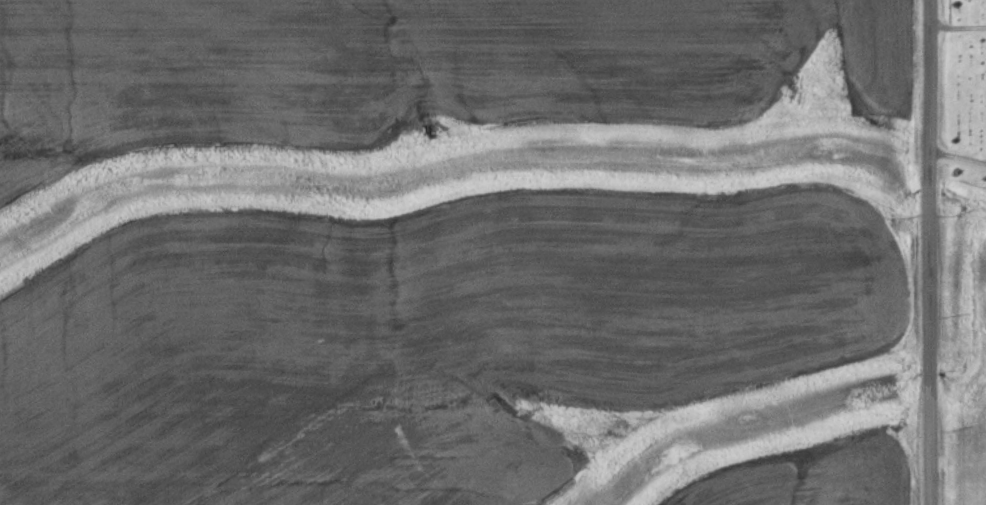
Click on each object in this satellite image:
road: (954, 26)
park: (960, 97)
road: (954, 158)
road: (923, 252)

